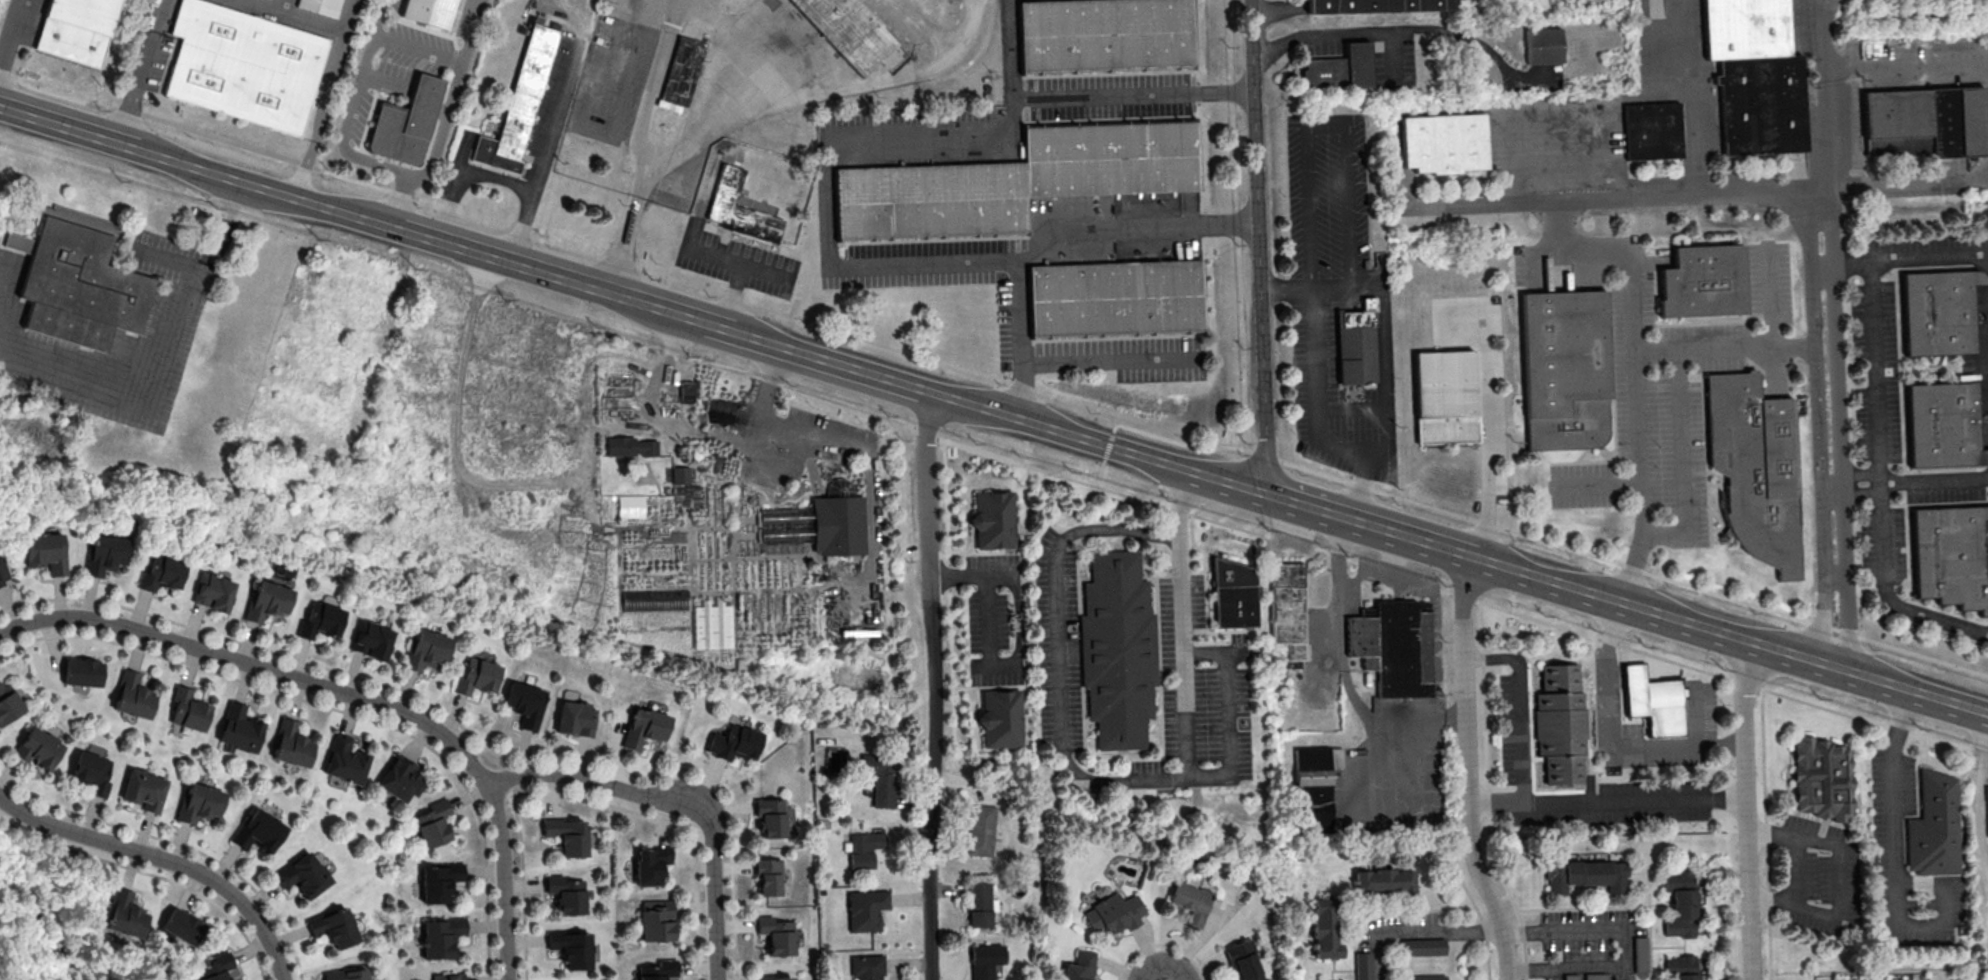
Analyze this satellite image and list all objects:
road: (282, 6)
building: (321, 6)
building: (1379, 9)
building: (429, 11)
road: (746, 13)
road: (293, 17)
road: (350, 17)
building: (77, 29)
building: (848, 30)
road: (11, 32)
road: (1412, 36)
building: (1108, 38)
building: (1544, 45)
road: (418, 48)
road: (665, 48)
road: (1396, 62)
building: (243, 65)
road: (1906, 65)
building: (682, 70)
road: (135, 71)
building: (1339, 71)
building: (1754, 76)
road: (383, 78)
road: (847, 91)
road: (452, 97)
road: (1083, 98)
road: (1696, 101)
building: (519, 103)
road: (352, 108)
road: (1423, 111)
road: (320, 117)
building: (406, 122)
building: (1924, 122)
road: (1327, 126)
road: (67, 130)
road: (548, 133)
building: (1654, 133)
road: (208, 135)
building: (1445, 145)
road: (1556, 154)
building: (1112, 160)
road: (212, 174)
road: (481, 175)
road: (1906, 187)
building: (931, 201)
road: (397, 206)
building: (740, 212)
road: (346, 216)
road: (1258, 247)
road: (1610, 252)
road: (1929, 258)
road: (724, 259)
road: (171, 262)
road: (1845, 263)
road: (878, 265)
building: (77, 278)
road: (554, 280)
building: (1703, 282)
road: (184, 289)
building: (1115, 297)
road: (734, 299)
road: (1769, 301)
building: (1938, 312)
road: (716, 330)
road: (1823, 334)
road: (1020, 341)
building: (1356, 341)
road: (1382, 347)
road: (1730, 349)
road: (1104, 361)
road: (30, 364)
road: (827, 365)
building: (1564, 368)
road: (1315, 392)
building: (1445, 397)
road: (765, 411)
road: (1349, 412)
building: (1943, 426)
road: (1058, 433)
road: (1487, 435)
building: (630, 446)
road: (868, 460)
road: (1680, 465)
building: (1754, 468)
building: (681, 474)
road: (1322, 474)
road: (1856, 474)
road: (1934, 482)
road: (1228, 483)
road: (1879, 483)
road: (516, 484)
road: (1597, 484)
road: (1856, 495)
building: (631, 506)
building: (994, 519)
building: (839, 524)
road: (1368, 525)
building: (785, 526)
building: (46, 552)
building: (105, 553)
building: (1950, 557)
building: (3, 572)
building: (162, 572)
road: (974, 574)
road: (1387, 579)
building: (214, 591)
building: (1233, 595)
building: (655, 599)
building: (267, 601)
building: (1288, 608)
building: (321, 621)
road: (1183, 623)
building: (712, 624)
road: (989, 634)
road: (1728, 636)
building: (371, 640)
building: (1394, 647)
building: (1118, 649)
building: (425, 650)
road: (280, 653)
road: (1343, 669)
building: (82, 672)
road: (1722, 676)
building: (476, 677)
road: (253, 683)
road: (934, 688)
road: (352, 694)
building: (133, 695)
building: (1653, 701)
building: (8, 703)
building: (524, 704)
road: (1521, 704)
building: (188, 709)
building: (1001, 718)
building: (575, 719)
building: (1560, 722)
building: (239, 728)
building: (644, 728)
road: (1608, 740)
building: (733, 743)
building: (291, 745)
building: (38, 748)
road: (1066, 755)
road: (1985, 760)
building: (344, 761)
road: (1467, 770)
building: (92, 772)
building: (400, 778)
building: (882, 778)
building: (1822, 778)
building: (143, 789)
building: (1312, 790)
road: (1487, 794)
road: (1607, 802)
building: (199, 803)
road: (676, 805)
building: (1987, 809)
road: (1746, 810)
road: (1977, 811)
building: (770, 818)
building: (434, 823)
building: (1933, 827)
building: (258, 831)
building: (980, 831)
building: (566, 836)
building: (865, 848)
road: (1895, 853)
road: (165, 861)
building: (651, 865)
road: (1789, 871)
building: (303, 875)
building: (1586, 875)
building: (767, 876)
building: (1384, 881)
building: (438, 882)
road: (1840, 882)
building: (567, 893)
building: (1191, 901)
building: (1680, 902)
building: (979, 904)
building: (865, 910)
building: (124, 913)
building: (1114, 913)
building: (656, 920)
building: (181, 926)
building: (333, 926)
building: (1325, 929)
road: (1418, 932)
building: (441, 936)
building: (776, 937)
building: (1423, 946)
road: (1625, 947)
building: (570, 949)
road: (1140, 950)
building: (1641, 954)
road: (1196, 959)
building: (984, 961)
building: (1243, 961)
building: (1363, 965)
building: (867, 967)
road: (1488, 967)
building: (1682, 967)
building: (216, 968)
building: (658, 970)
building: (346, 974)
building: (449, 976)
building: (1571, 976)
building: (1595, 976)
building: (1424, 977)
building: (774, 978)
building: (1983, 979)

